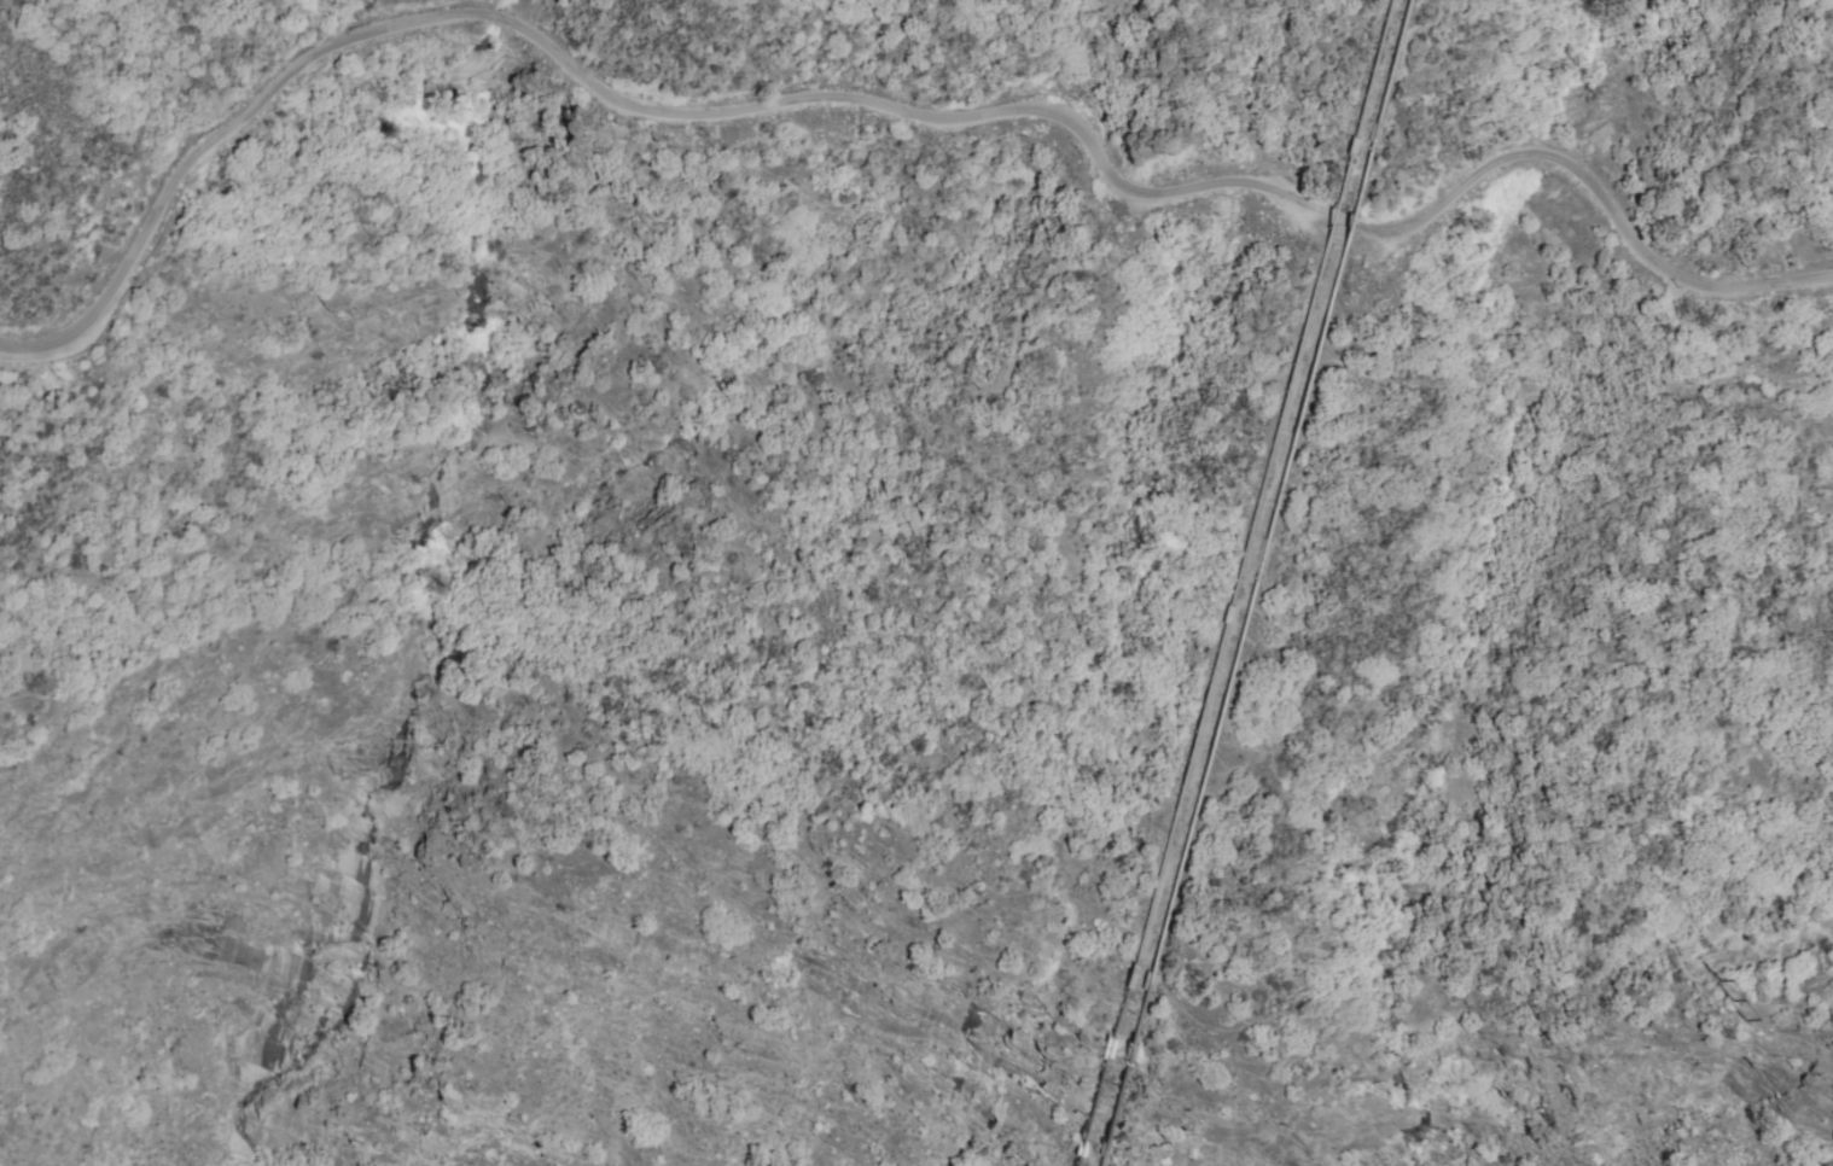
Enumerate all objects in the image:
road: (894, 104)
power tower: (1729, 996)

